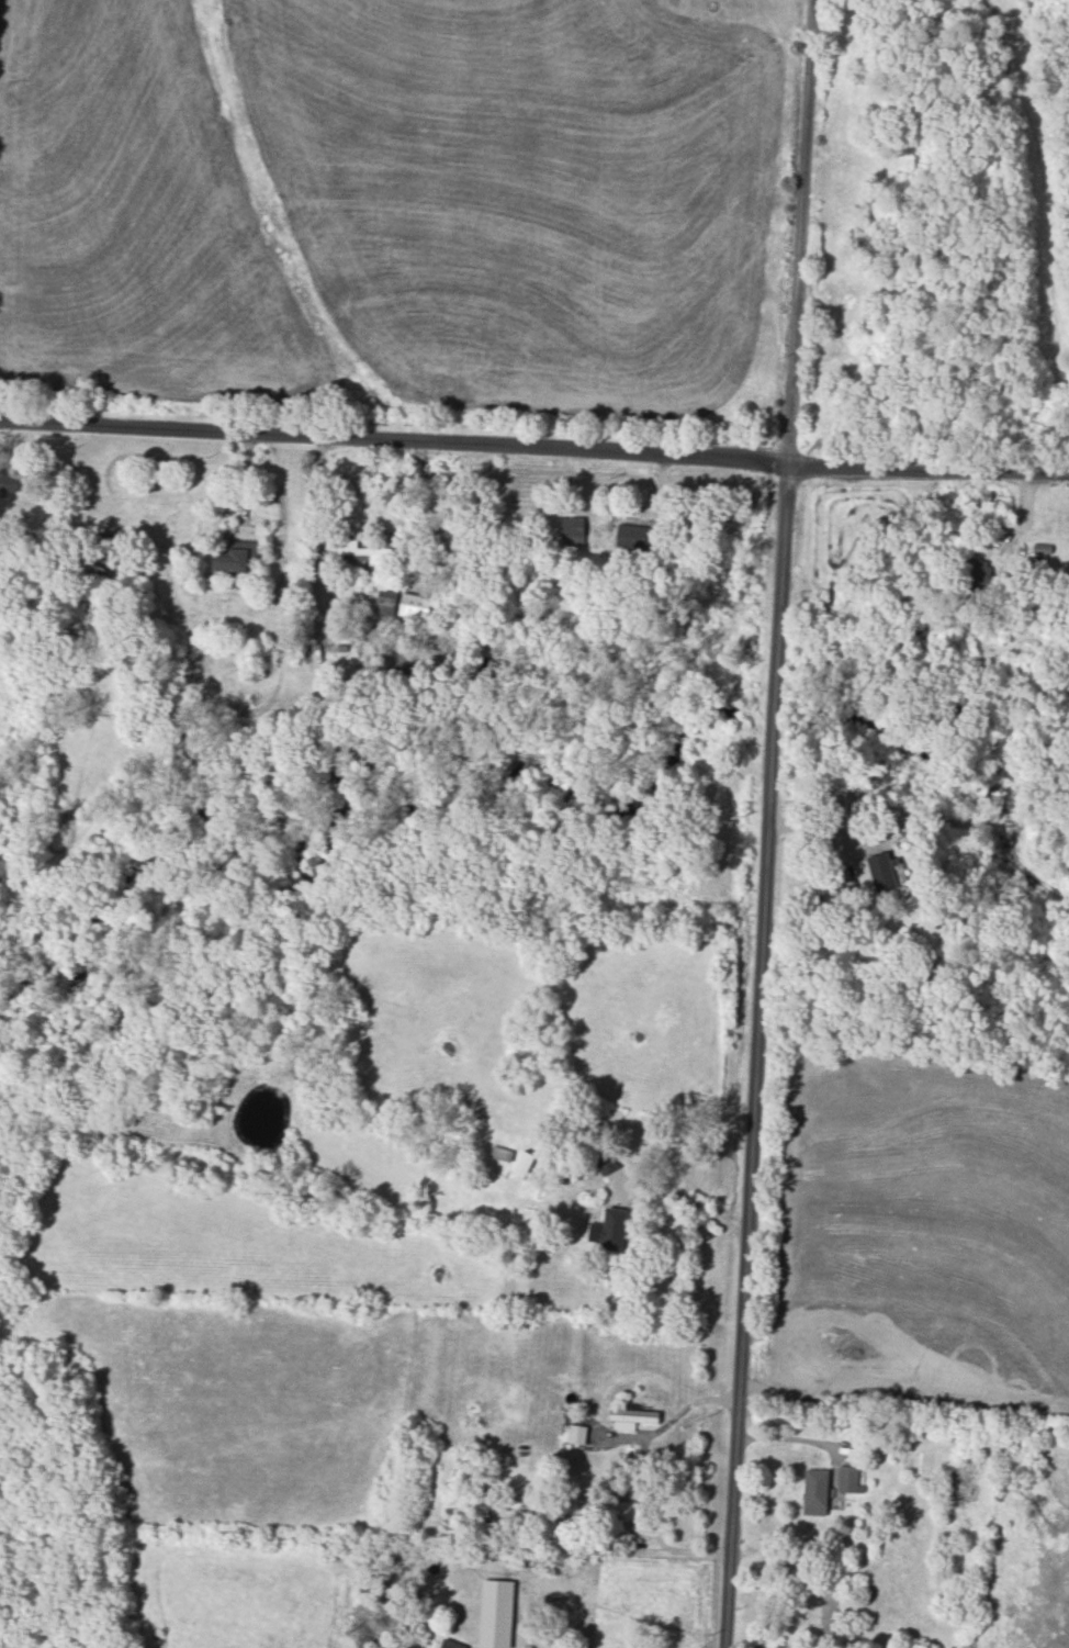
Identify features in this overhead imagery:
crop: (400, 209)
road: (806, 228)
road: (396, 434)
road: (931, 463)
building: (8, 482)
building: (573, 530)
building: (634, 536)
building: (360, 550)
building: (236, 557)
building: (385, 601)
building: (415, 605)
building: (884, 870)
road: (762, 1052)
building: (606, 1162)
road: (688, 1200)
building: (610, 1230)
crop: (916, 1236)
road: (686, 1403)
building: (632, 1417)
building: (576, 1433)
road: (791, 1435)
building: (847, 1478)
building: (815, 1491)
building: (627, 1511)
building: (496, 1613)
building: (452, 1644)

